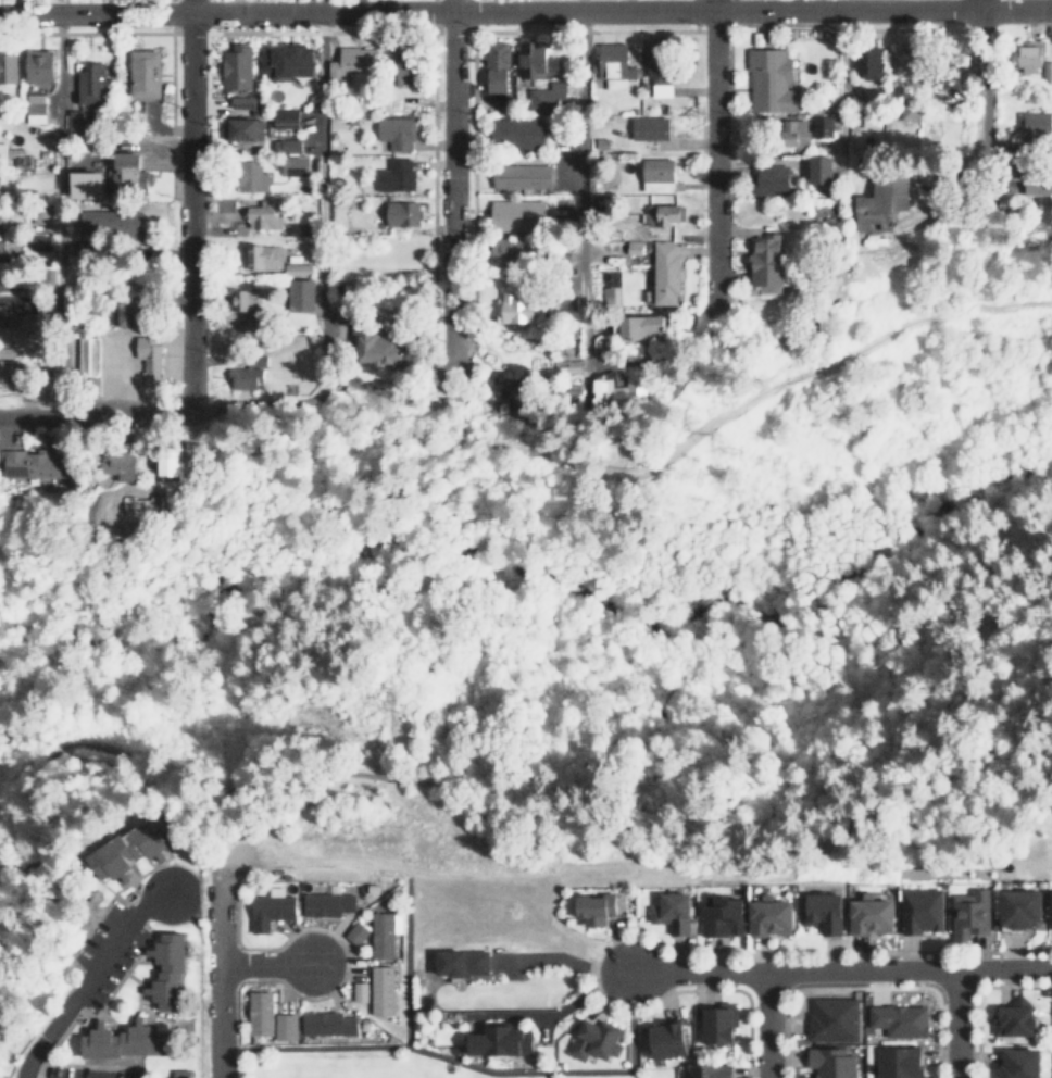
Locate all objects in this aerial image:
road: (577, 4)
road: (525, 10)
building: (1030, 57)
building: (287, 60)
building: (537, 60)
building: (901, 60)
building: (868, 61)
building: (352, 63)
building: (614, 64)
building: (40, 65)
building: (498, 66)
building: (238, 67)
building: (405, 67)
building: (9, 68)
building: (660, 68)
building: (1048, 70)
road: (982, 71)
building: (147, 73)
building: (771, 80)
road: (838, 82)
building: (91, 84)
building: (548, 97)
building: (243, 101)
building: (35, 108)
building: (287, 117)
building: (74, 120)
building: (1034, 126)
building: (823, 127)
building: (246, 128)
building: (650, 128)
building: (517, 129)
building: (794, 131)
building: (397, 133)
building: (287, 145)
road: (712, 150)
building: (3, 151)
building: (295, 165)
building: (822, 170)
building: (130, 175)
building: (397, 175)
building: (659, 175)
building: (252, 176)
building: (522, 176)
building: (0, 177)
building: (771, 178)
road: (322, 183)
building: (1039, 183)
road: (584, 184)
building: (89, 185)
road: (451, 193)
building: (884, 199)
road: (190, 202)
building: (403, 213)
building: (518, 214)
building: (664, 214)
road: (55, 215)
building: (264, 215)
building: (0, 217)
building: (111, 224)
building: (298, 228)
building: (42, 243)
building: (635, 247)
building: (509, 248)
building: (1, 251)
building: (263, 256)
building: (768, 263)
building: (298, 268)
building: (666, 273)
building: (49, 277)
building: (2, 281)
building: (609, 293)
building: (301, 294)
building: (245, 299)
building: (515, 309)
building: (131, 313)
building: (4, 314)
building: (644, 327)
building: (601, 340)
building: (377, 343)
building: (88, 356)
building: (149, 360)
building: (9, 372)
building: (247, 377)
building: (510, 384)
building: (635, 386)
building: (603, 391)
road: (383, 403)
road: (97, 416)
road: (530, 453)
building: (34, 465)
building: (120, 466)
park: (102, 609)
park: (663, 641)
road: (125, 763)
road: (201, 801)
road: (628, 824)
building: (128, 850)
road: (220, 865)
road: (108, 902)
building: (325, 904)
building: (1017, 906)
building: (1051, 906)
building: (268, 910)
building: (593, 910)
building: (823, 911)
building: (919, 911)
building: (672, 912)
building: (967, 913)
building: (722, 915)
building: (767, 915)
building: (868, 916)
building: (353, 932)
building: (381, 932)
road: (769, 952)
building: (459, 957)
road: (264, 962)
road: (345, 962)
road: (238, 963)
road: (406, 966)
road: (839, 969)
building: (168, 970)
road: (218, 975)
road: (87, 979)
road: (861, 987)
road: (727, 989)
building: (374, 991)
road: (974, 994)
road: (954, 1006)
road: (766, 1007)
road: (146, 1008)
building: (264, 1016)
building: (831, 1017)
building: (1012, 1019)
building: (719, 1020)
building: (898, 1020)
road: (71, 1021)
road: (955, 1023)
building: (324, 1024)
road: (768, 1024)
road: (122, 1027)
building: (593, 1039)
building: (664, 1039)
building: (500, 1040)
building: (127, 1041)
road: (235, 1062)
road: (462, 1062)
building: (832, 1063)
building: (897, 1063)
building: (1017, 1063)
road: (37, 1069)
parking lot: (87, 1070)
building: (707, 1070)
building: (180, 1073)

